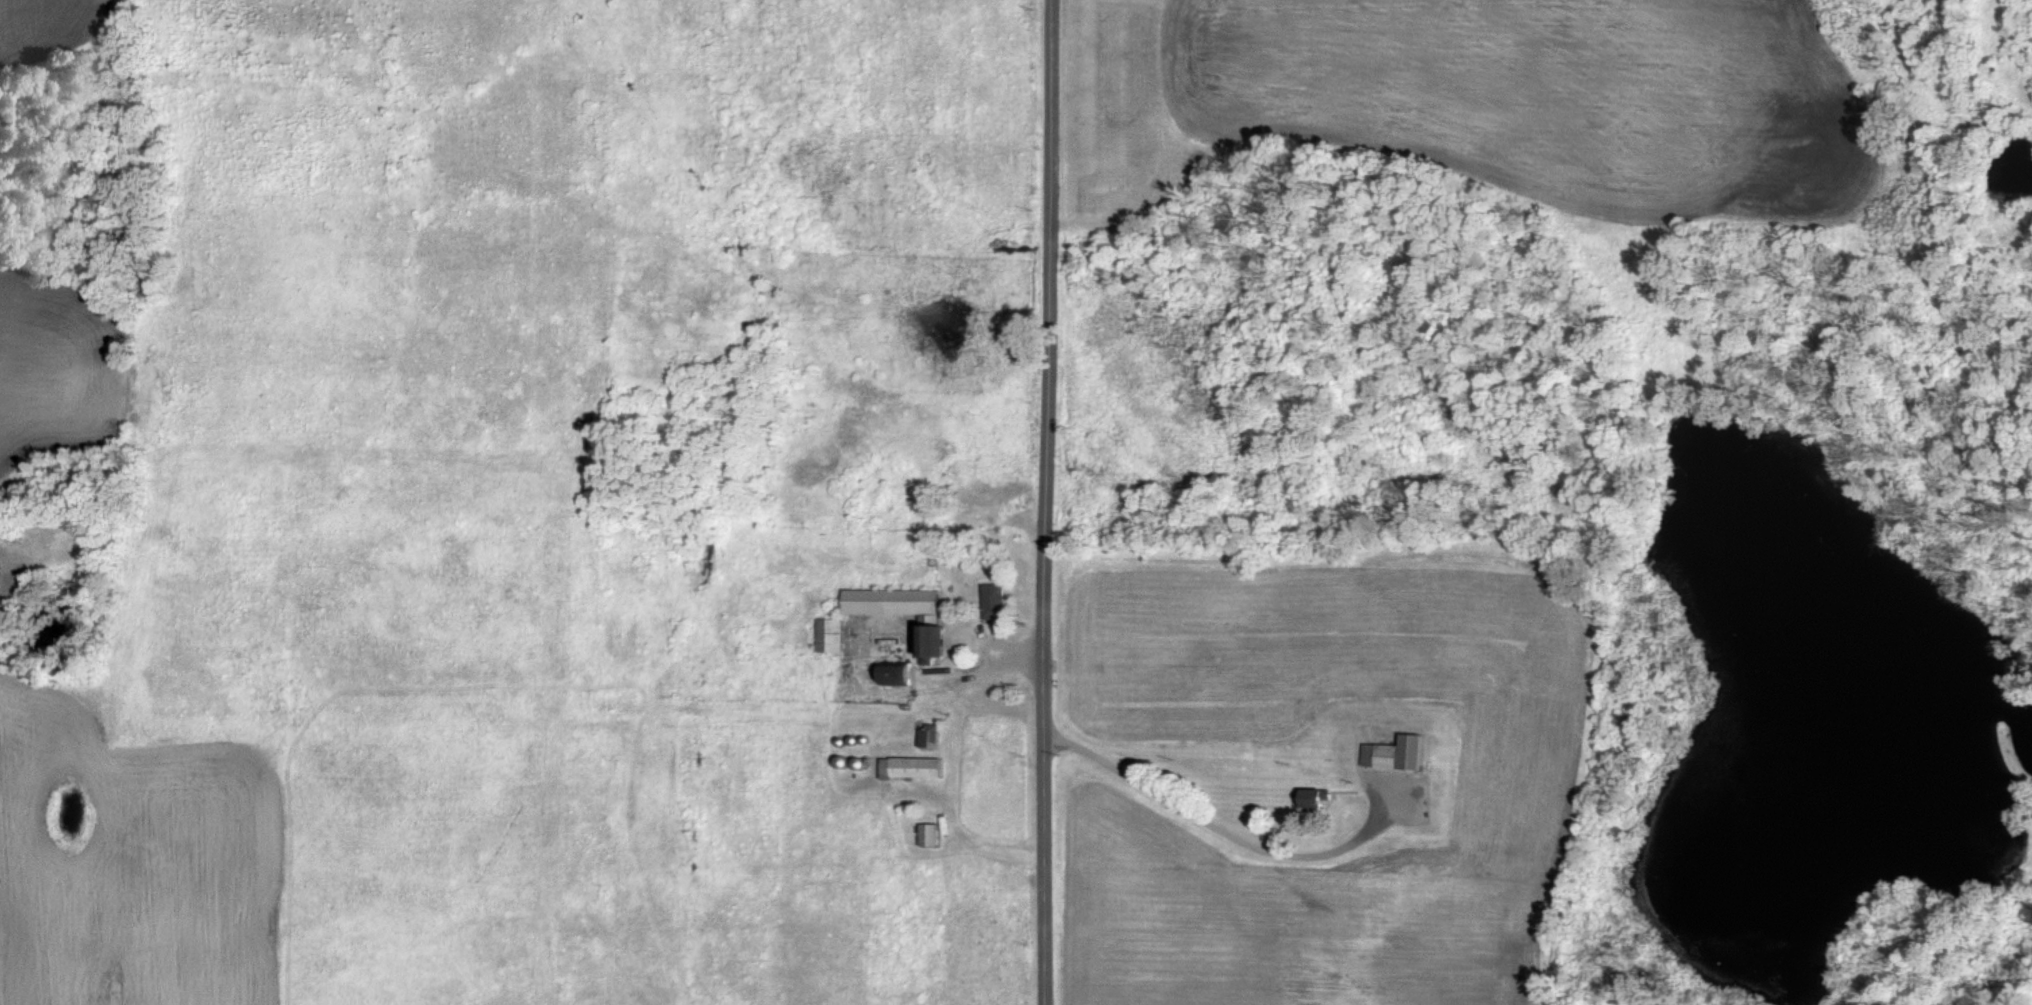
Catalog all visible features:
road: (1051, 502)
building: (997, 600)
building: (907, 613)
building: (833, 634)
road: (995, 662)
building: (898, 673)
building: (931, 735)
building: (1401, 753)
building: (914, 767)
building: (1324, 799)
road: (956, 811)
road: (1225, 832)
building: (931, 835)

